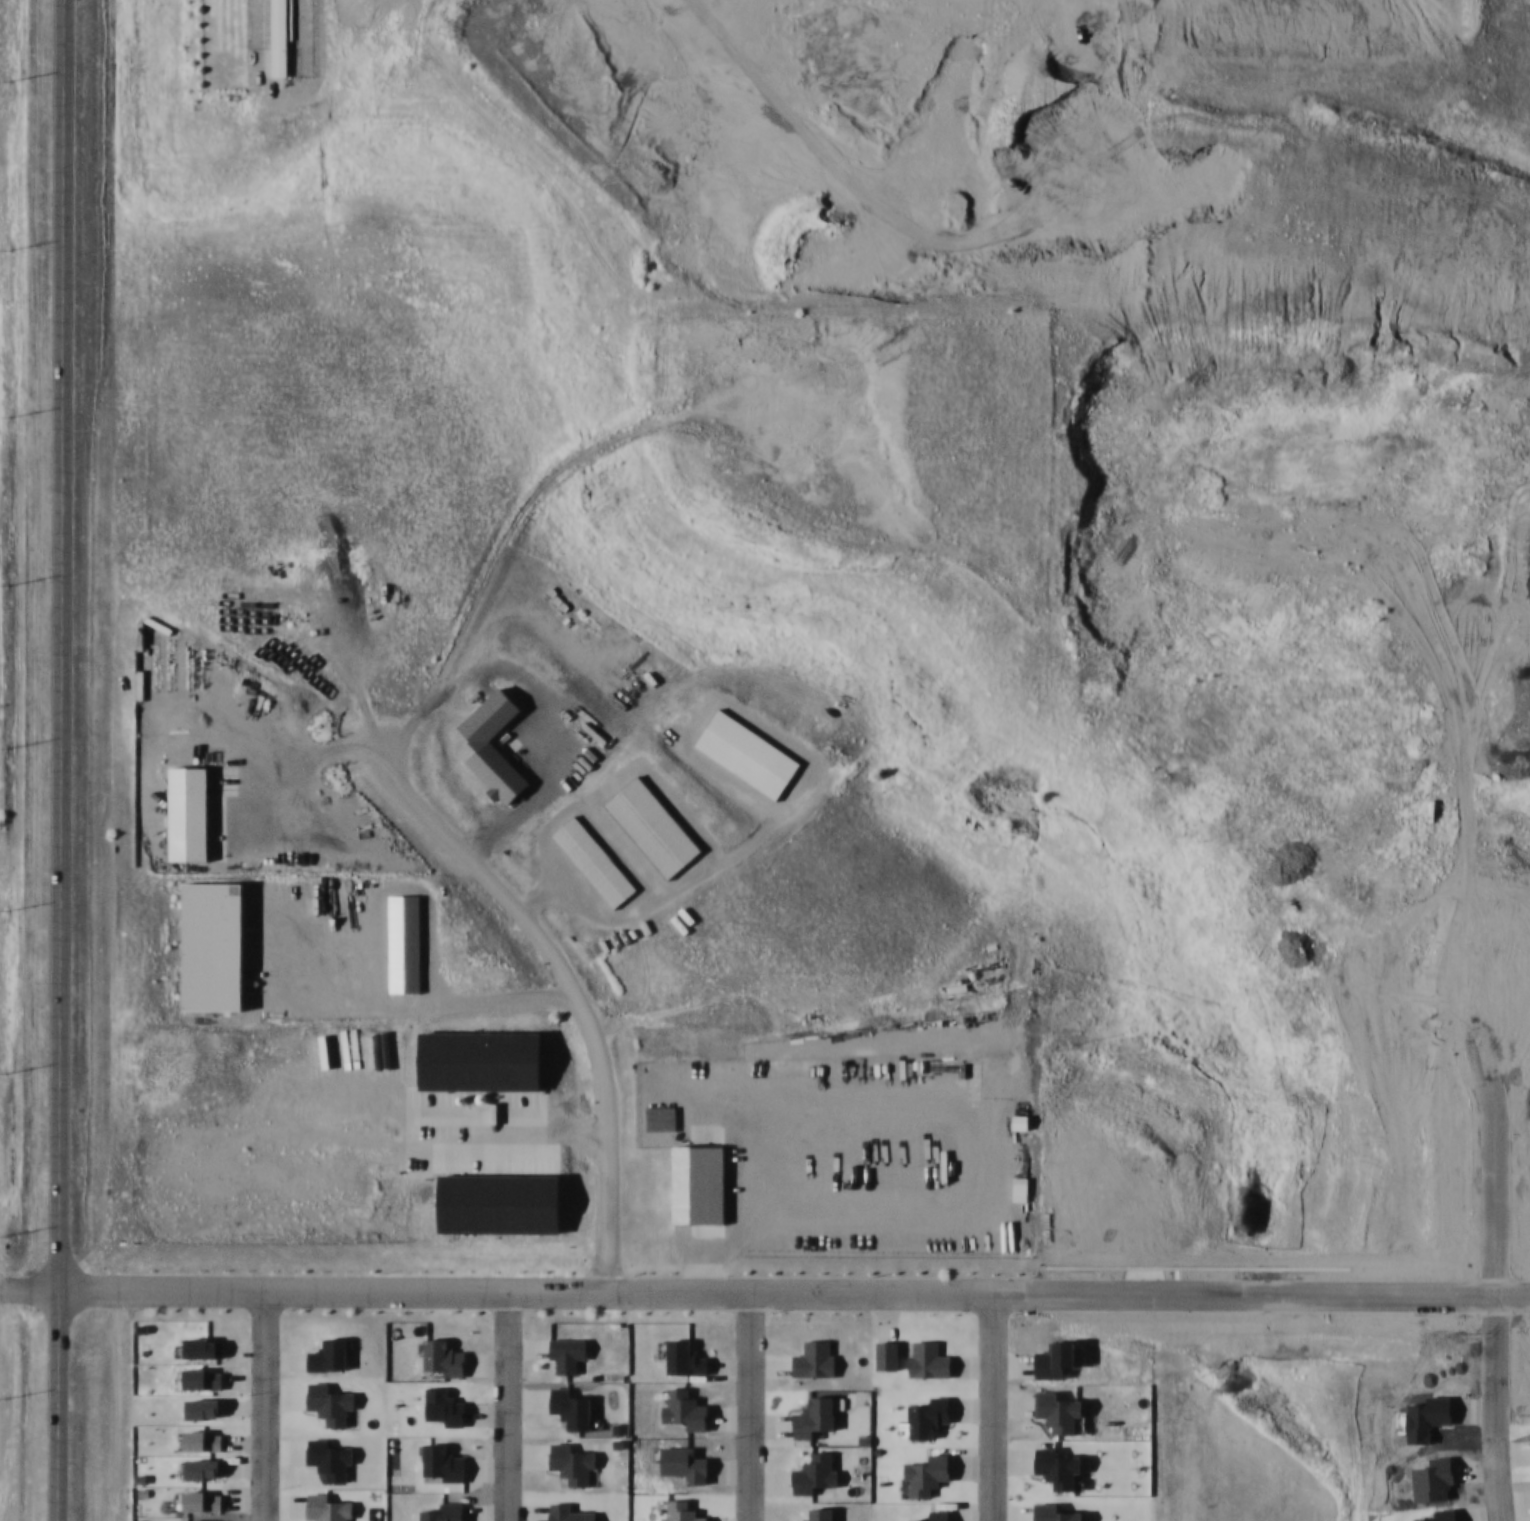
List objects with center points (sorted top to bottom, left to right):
building: (281, 35)
road: (61, 643)
building: (500, 770)
building: (654, 826)
building: (595, 861)
building: (407, 942)
road: (566, 983)
building: (1020, 1114)
building: (702, 1184)
road: (1256, 1246)
road: (521, 1286)
road: (28, 1287)
road: (256, 1403)
road: (495, 1403)
road: (739, 1403)
road: (986, 1403)
road: (56, 1404)
road: (1485, 1450)

